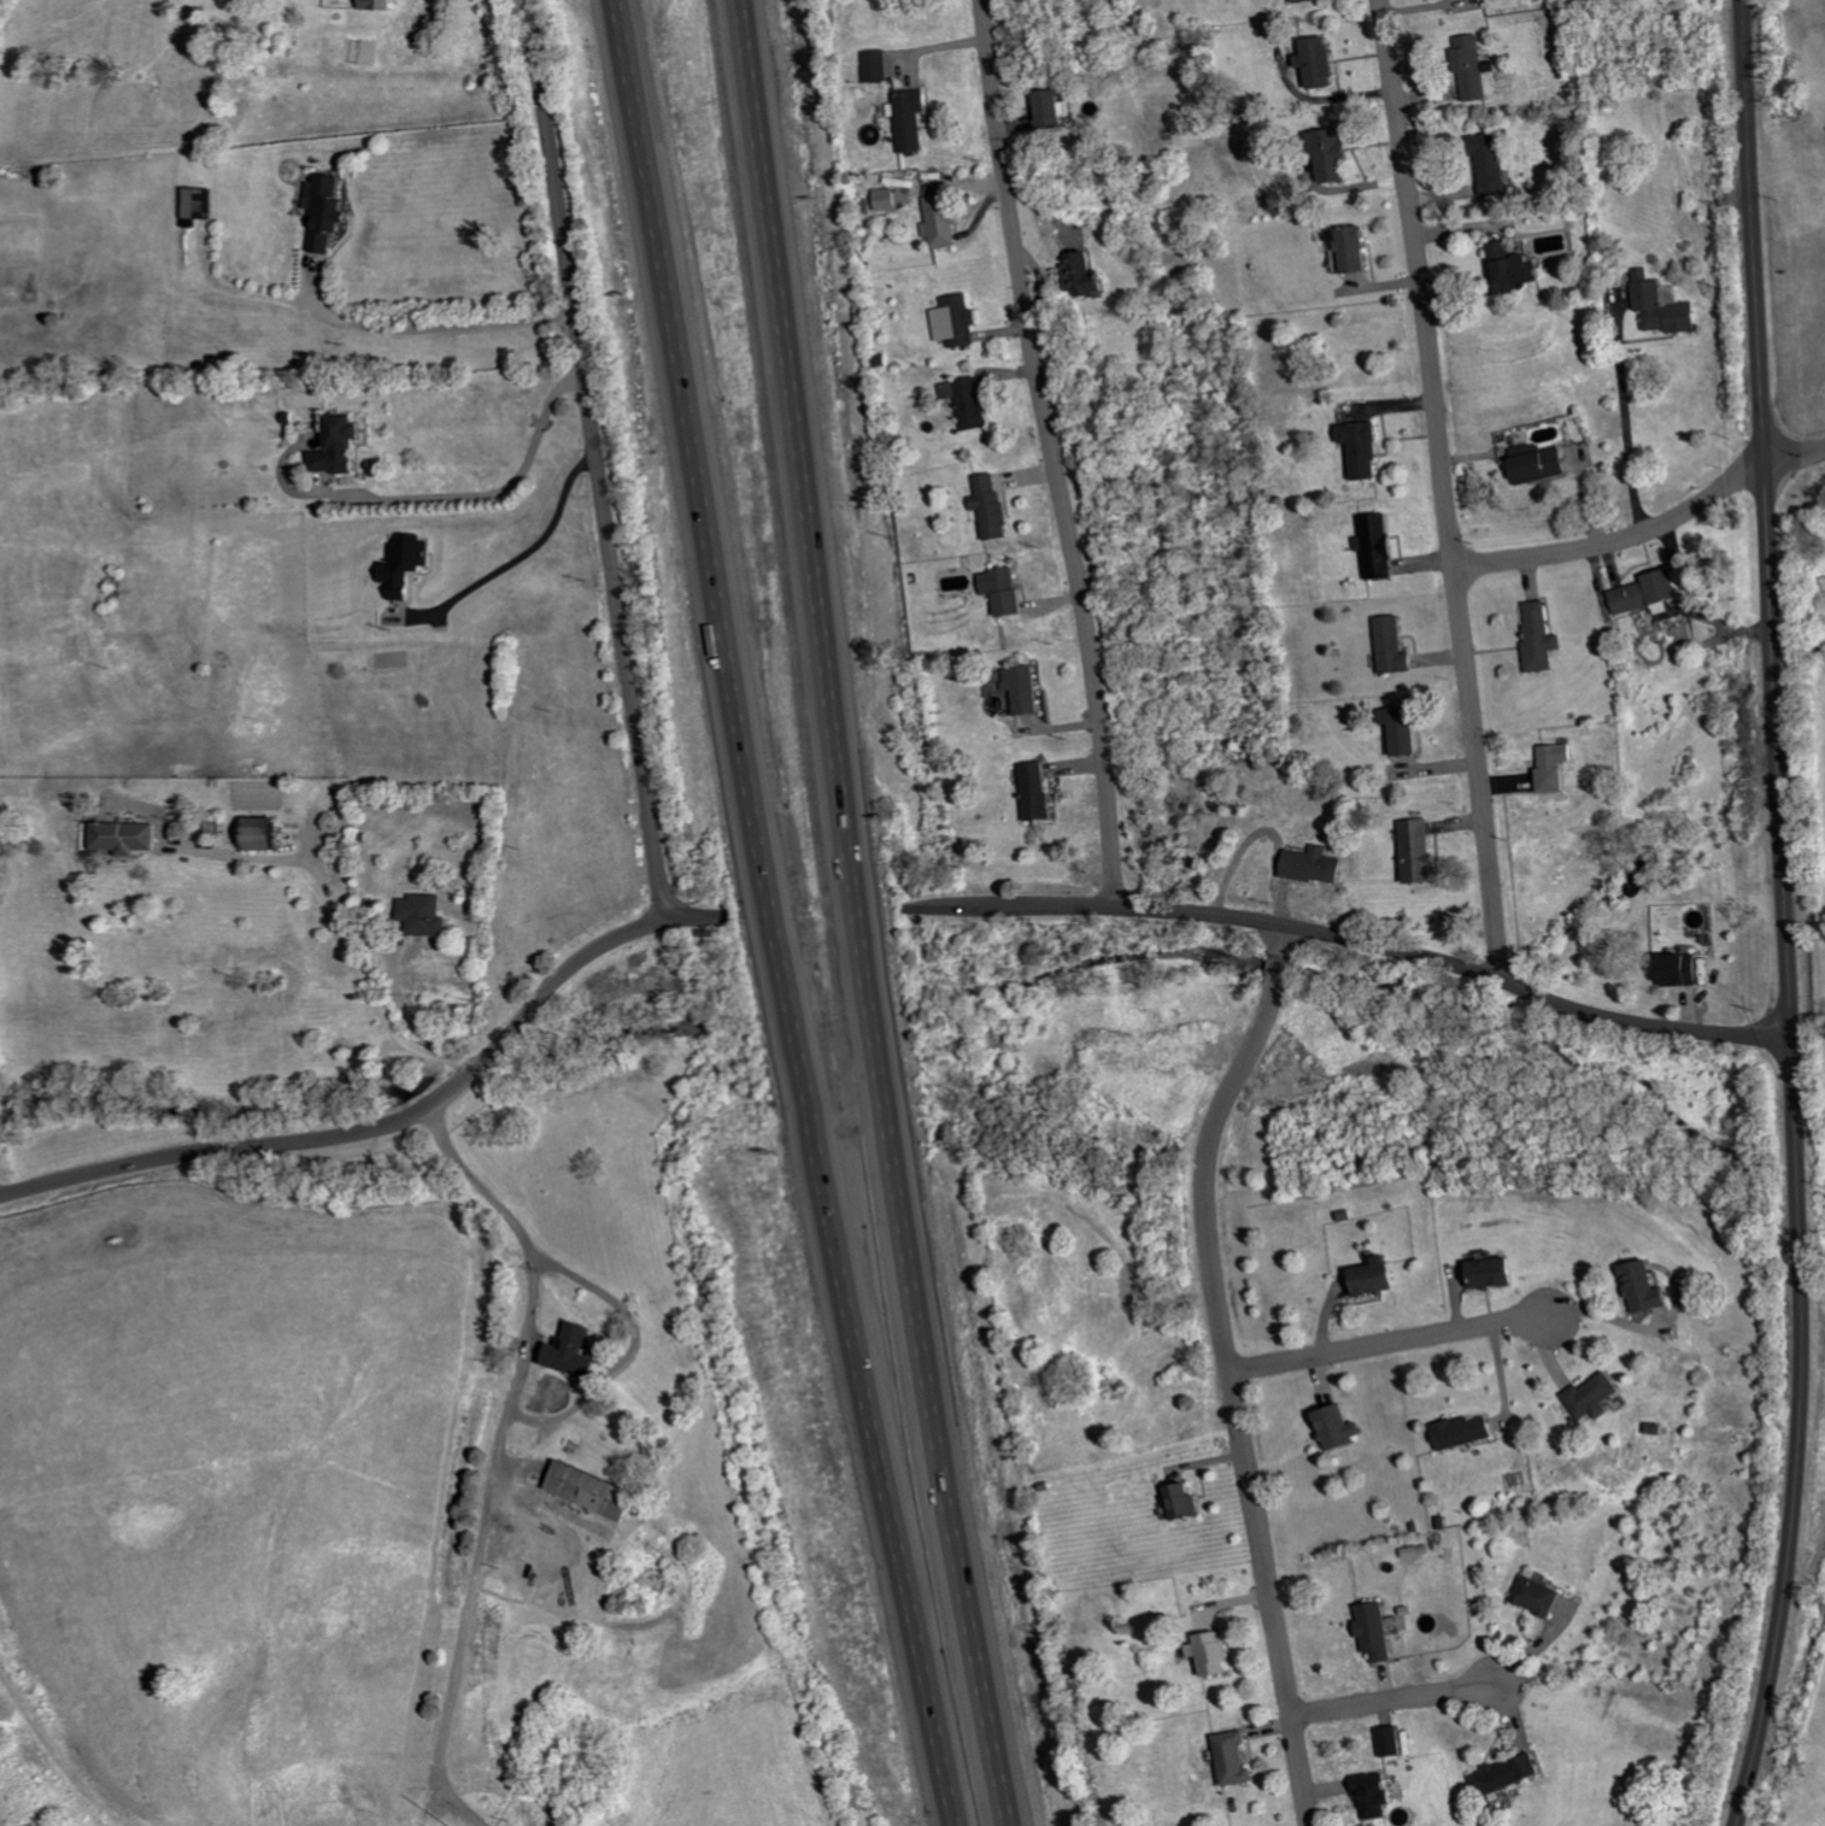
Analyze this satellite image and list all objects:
building: (1307, 0)
building: (382, 5)
building: (1321, 63)
building: (879, 65)
building: (1475, 67)
building: (1060, 110)
building: (915, 119)
building: (1336, 157)
building: (1496, 165)
building: (891, 199)
building: (201, 202)
building: (330, 210)
building: (946, 221)
building: (1518, 269)
building: (1093, 276)
building: (1666, 306)
building: (961, 321)
road: (439, 325)
building: (973, 401)
road: (1625, 428)
building: (344, 445)
building: (1367, 448)
road: (1057, 451)
road: (1795, 457)
road: (597, 458)
building: (1543, 463)
road: (1444, 488)
road: (489, 492)
building: (996, 506)
road: (1616, 539)
building: (1379, 546)
road: (535, 550)
building: (409, 565)
building: (1013, 592)
building: (1651, 593)
building: (1542, 635)
building: (1395, 645)
building: (1027, 687)
building: (1408, 729)
building: (1557, 765)
building: (1040, 789)
building: (268, 832)
building: (128, 836)
building: (1420, 850)
building: (1316, 864)
building: (429, 914)
road: (774, 915)
road: (861, 915)
road: (1785, 915)
road: (345, 927)
road: (1350, 938)
building: (1688, 968)
road: (412, 1016)
road: (398, 1121)
road: (1, 1198)
building: (1498, 1272)
building: (1381, 1276)
building: (1653, 1286)
road: (1385, 1346)
building: (577, 1350)
road: (1228, 1369)
building: (1598, 1396)
building: (1342, 1426)
building: (1467, 1431)
building: (598, 1490)
road: (495, 1492)
building: (1186, 1502)
building: (1543, 1596)
building: (1378, 1630)
building: (1215, 1652)
road: (1393, 1702)
building: (1392, 1740)
building: (1236, 1757)
building: (1513, 1774)
building: (1377, 1795)

